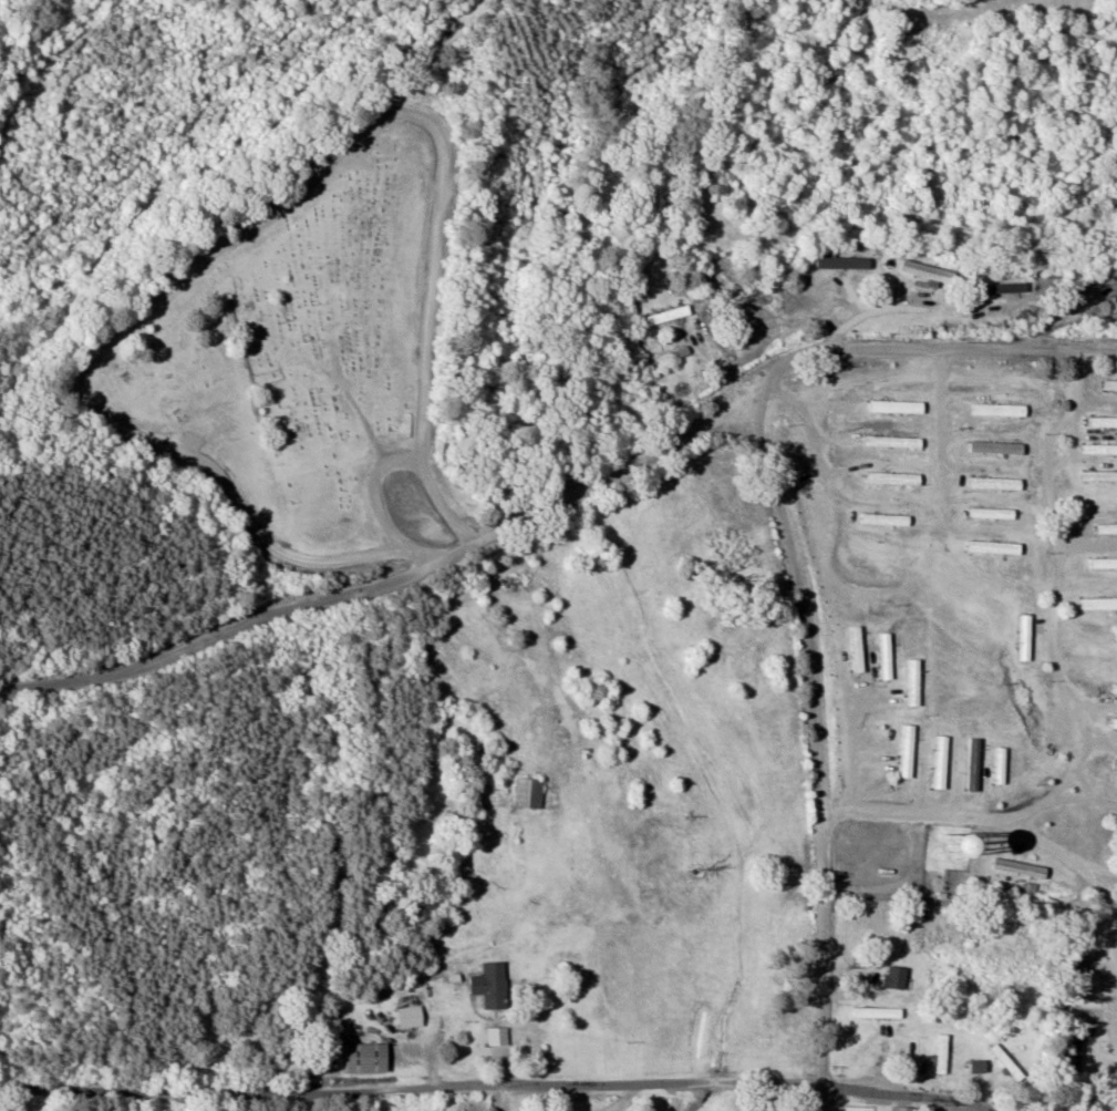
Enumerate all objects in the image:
road: (1092, 31)
road: (919, 61)
road: (245, 234)
road: (785, 235)
building: (837, 261)
building: (1115, 267)
building: (931, 272)
building: (1009, 288)
road: (1086, 300)
building: (762, 301)
building: (670, 316)
road: (958, 316)
park: (301, 330)
road: (925, 347)
building: (682, 352)
building: (1111, 385)
road: (1094, 400)
building: (1104, 422)
building: (1100, 449)
building: (1102, 475)
building: (1108, 528)
road: (1086, 546)
building: (1105, 563)
road: (389, 582)
building: (860, 649)
building: (889, 656)
building: (1115, 690)
road: (1063, 693)
road: (1092, 703)
road: (848, 723)
building: (1115, 724)
road: (815, 748)
road: (1097, 748)
building: (937, 755)
building: (944, 762)
building: (976, 764)
building: (1116, 765)
building: (520, 789)
road: (1082, 796)
road: (1095, 866)
building: (1022, 868)
road: (1106, 912)
road: (1111, 915)
building: (898, 978)
building: (1082, 978)
building: (494, 986)
building: (880, 1014)
building: (413, 1017)
building: (498, 1037)
building: (1078, 1046)
building: (943, 1055)
building: (369, 1058)
building: (1009, 1063)
road: (496, 1082)

